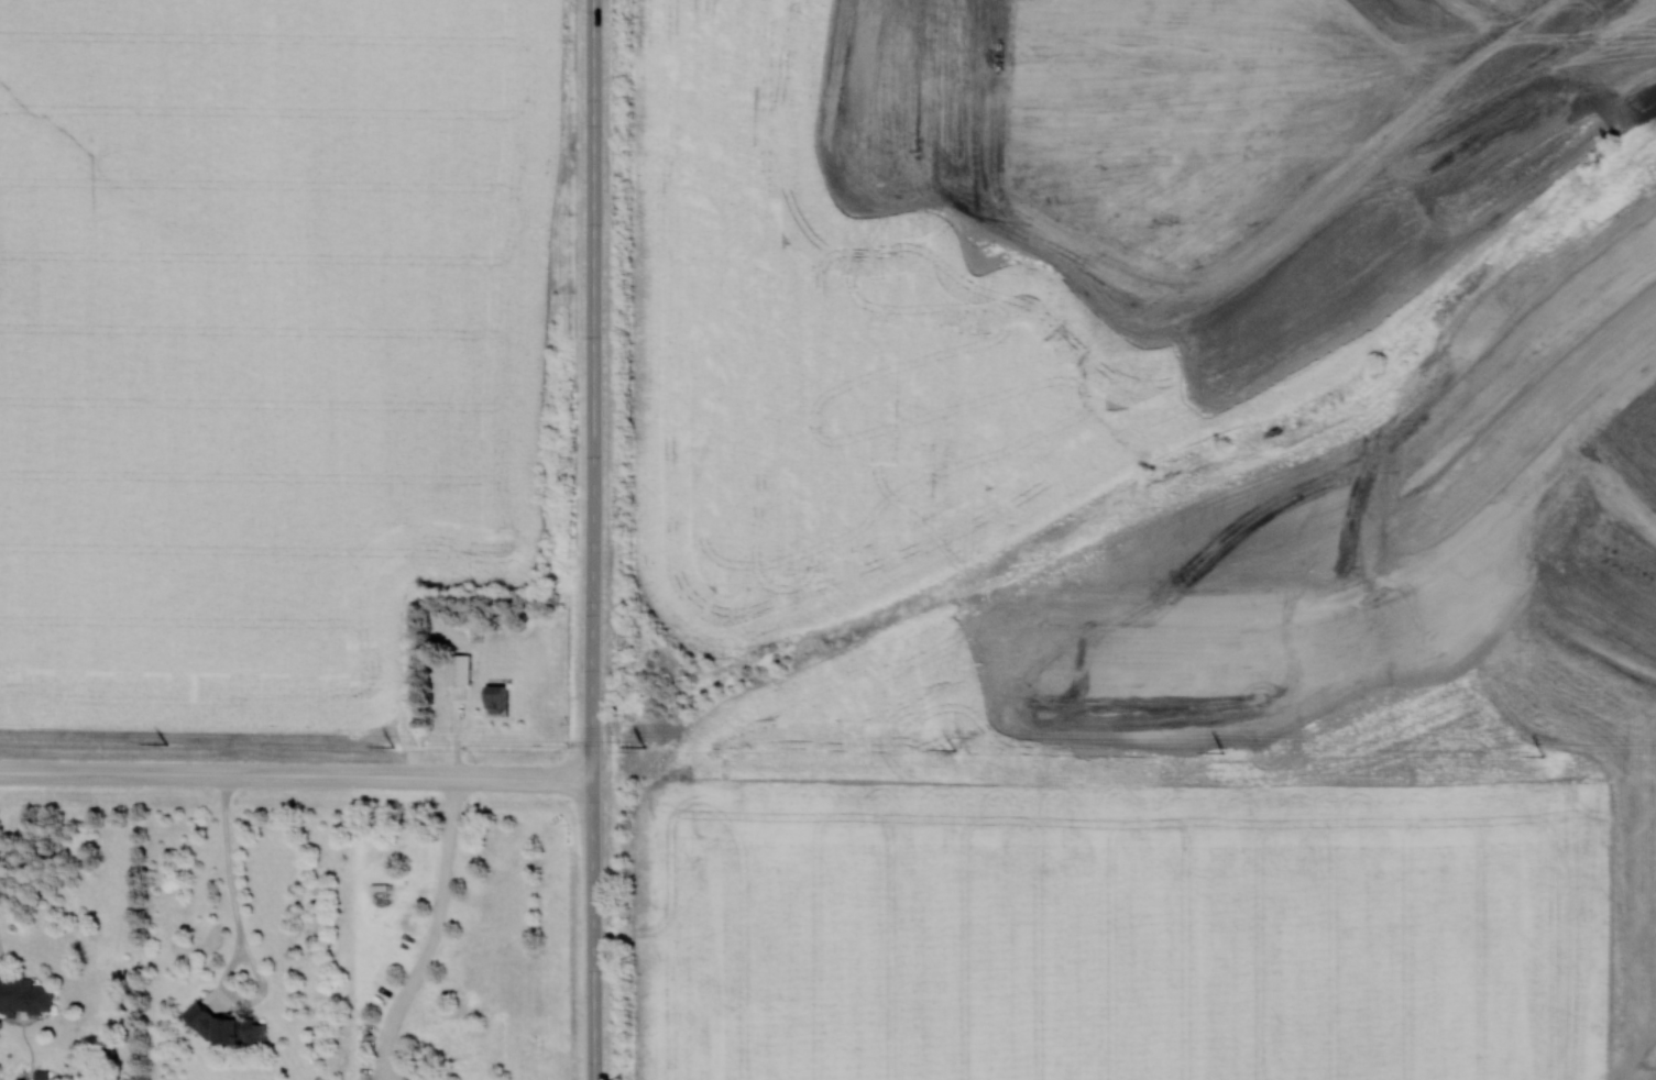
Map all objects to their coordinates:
road: (1619, 24)
road: (592, 387)
park: (1411, 387)
road: (1550, 410)
road: (1597, 478)
road: (1441, 515)
building: (458, 669)
building: (496, 698)
power tower: (167, 742)
power tower: (643, 746)
power tower: (392, 747)
power tower: (955, 750)
power tower: (1224, 754)
power tower: (1544, 757)
road: (296, 773)
road: (592, 928)
road: (438, 932)
road: (242, 934)
building: (24, 995)
building: (227, 1026)
building: (41, 1075)

